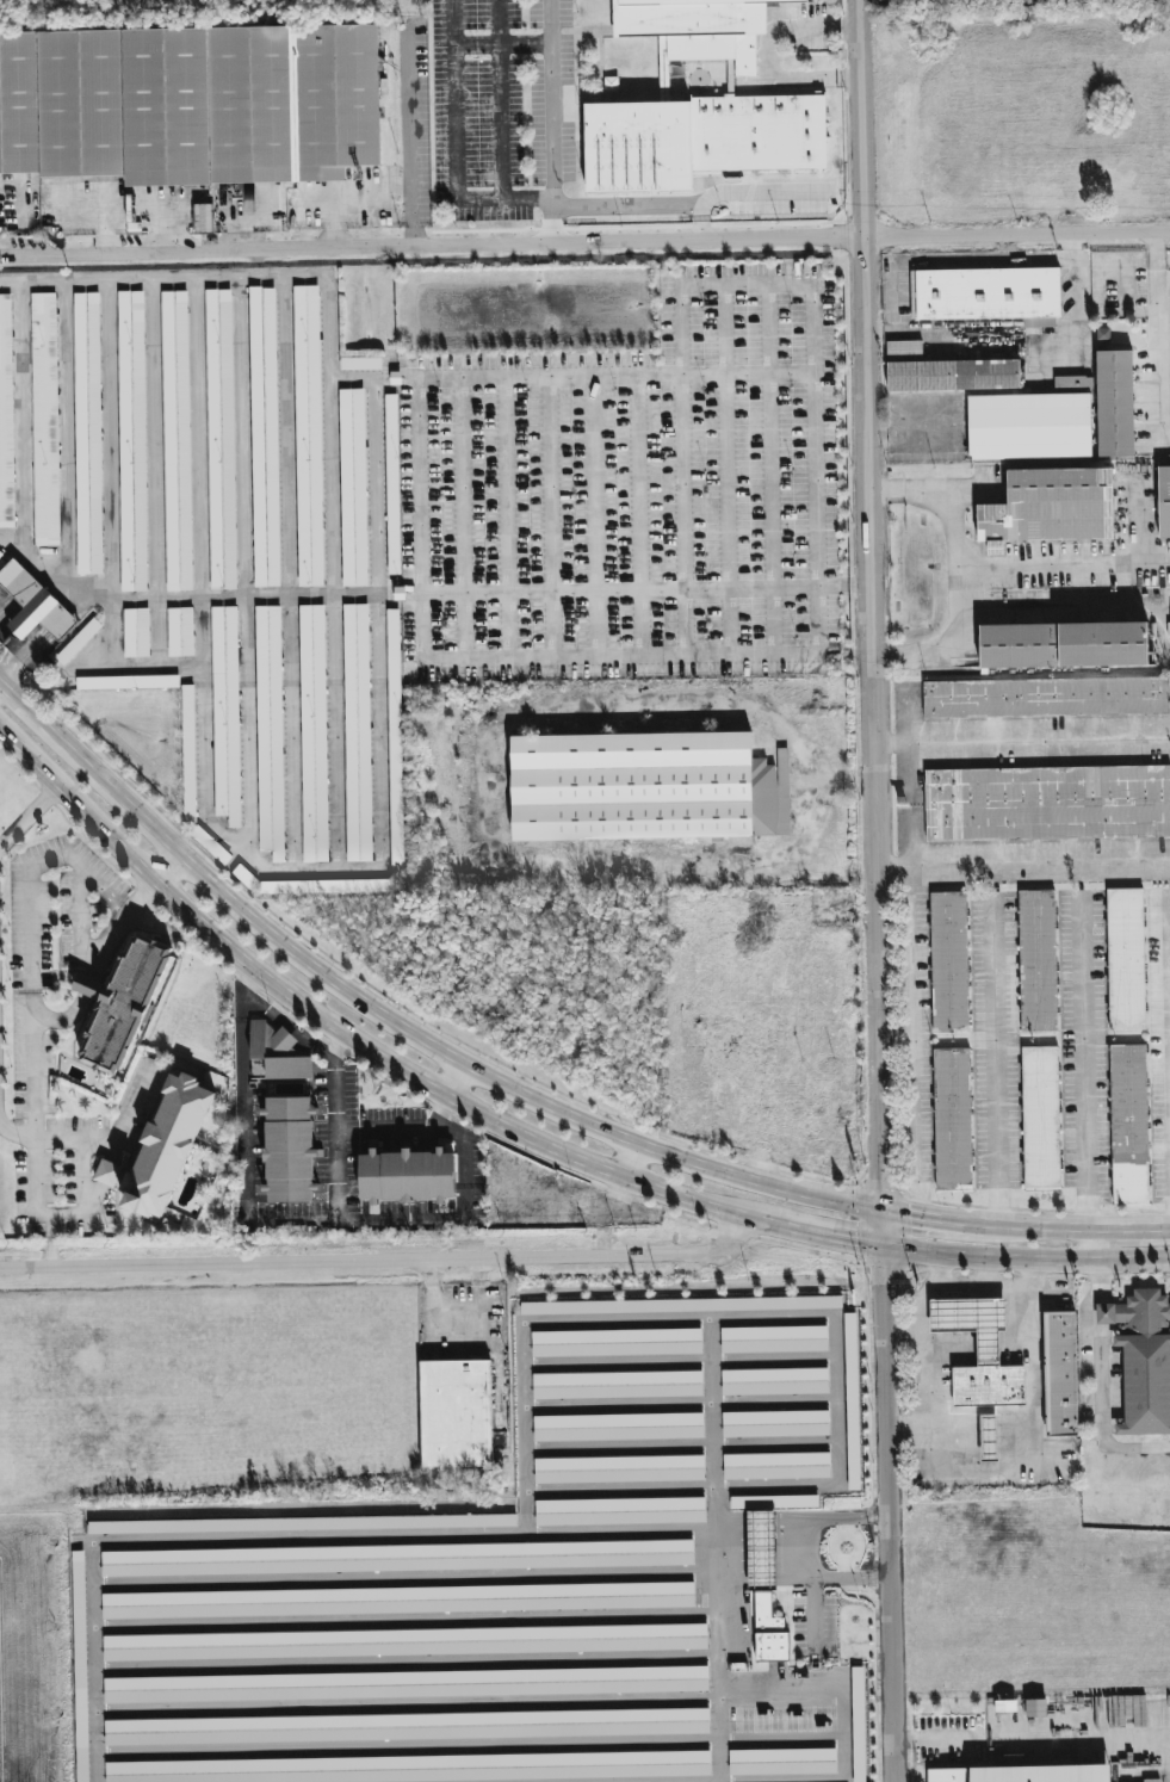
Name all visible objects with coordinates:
road: (500, 20)
building: (700, 26)
road: (553, 38)
road: (503, 99)
building: (188, 101)
parking lot: (503, 111)
building: (700, 138)
road: (420, 140)
road: (458, 177)
road: (747, 192)
building: (56, 194)
road: (333, 219)
road: (25, 225)
road: (586, 242)
building: (985, 293)
road: (1077, 311)
road: (1154, 335)
building: (360, 363)
building: (945, 371)
road: (370, 382)
building: (1072, 382)
road: (812, 392)
building: (1113, 402)
road: (326, 412)
building: (6, 416)
building: (44, 420)
building: (1027, 426)
building: (87, 433)
building: (308, 435)
building: (264, 437)
road: (768, 437)
building: (221, 439)
building: (131, 441)
building: (177, 441)
building: (392, 484)
building: (353, 487)
road: (372, 489)
road: (462, 490)
road: (419, 491)
building: (1163, 500)
building: (1048, 507)
parking lot: (413, 508)
road: (681, 515)
road: (36, 558)
road: (1064, 568)
road: (957, 569)
road: (70, 584)
road: (840, 589)
road: (21, 593)
road: (353, 595)
road: (867, 605)
road: (6, 610)
building: (33, 612)
road: (770, 621)
road: (55, 625)
building: (180, 631)
building: (136, 632)
building: (78, 642)
building: (1061, 644)
road: (623, 656)
road: (23, 662)
building: (128, 682)
road: (0, 691)
building: (1046, 703)
road: (732, 712)
building: (225, 714)
building: (270, 731)
road: (333, 732)
building: (357, 732)
building: (314, 734)
building: (395, 742)
road: (1020, 742)
building: (188, 754)
building: (633, 786)
building: (1047, 808)
road: (29, 816)
building: (210, 844)
road: (600, 861)
road: (1020, 864)
road: (330, 870)
road: (167, 872)
building: (324, 886)
road: (80, 918)
building: (1123, 959)
building: (1036, 960)
building: (947, 963)
road: (31, 978)
building: (123, 1001)
road: (286, 1017)
road: (395, 1025)
road: (911, 1039)
parking lot: (1036, 1045)
road: (361, 1051)
road: (1001, 1063)
road: (1091, 1071)
road: (454, 1082)
road: (242, 1094)
road: (129, 1100)
road: (31, 1110)
building: (284, 1113)
road: (441, 1115)
building: (951, 1118)
building: (1039, 1118)
building: (1127, 1124)
road: (334, 1126)
road: (52, 1139)
building: (166, 1145)
road: (631, 1162)
building: (407, 1176)
road: (101, 1177)
road: (82, 1202)
traffic signals: (878, 1209)
building: (580, 1211)
road: (912, 1213)
road: (463, 1220)
road: (973, 1221)
road: (878, 1226)
road: (1084, 1226)
road: (842, 1237)
road: (49, 1242)
road: (1132, 1243)
traffic signals: (878, 1244)
road: (1094, 1252)
road: (1023, 1258)
road: (384, 1261)
road: (986, 1270)
road: (984, 1283)
road: (479, 1298)
building: (680, 1305)
road: (521, 1329)
road: (903, 1332)
road: (464, 1336)
building: (773, 1338)
building: (615, 1342)
road: (988, 1350)
road: (1017, 1350)
building: (978, 1351)
road: (951, 1353)
building: (1141, 1360)
building: (1059, 1373)
building: (774, 1381)
building: (617, 1384)
road: (1098, 1384)
road: (838, 1399)
building: (852, 1400)
building: (458, 1412)
road: (714, 1422)
building: (775, 1423)
road: (908, 1423)
building: (618, 1427)
building: (988, 1438)
building: (776, 1466)
building: (619, 1468)
road: (974, 1469)
building: (619, 1510)
road: (886, 1512)
road: (841, 1516)
building: (302, 1523)
road: (731, 1529)
road: (761, 1529)
road: (788, 1529)
road: (519, 1532)
road: (797, 1555)
building: (397, 1558)
road: (757, 1559)
building: (766, 1571)
road: (850, 1577)
parking lot: (515, 1584)
building: (397, 1600)
road: (812, 1613)
building: (404, 1642)
building: (80, 1666)
building: (406, 1684)
building: (858, 1724)
building: (407, 1727)
road: (718, 1733)
road: (1036, 1735)
building: (782, 1762)
building: (427, 1768)
building: (1022, 1774)

